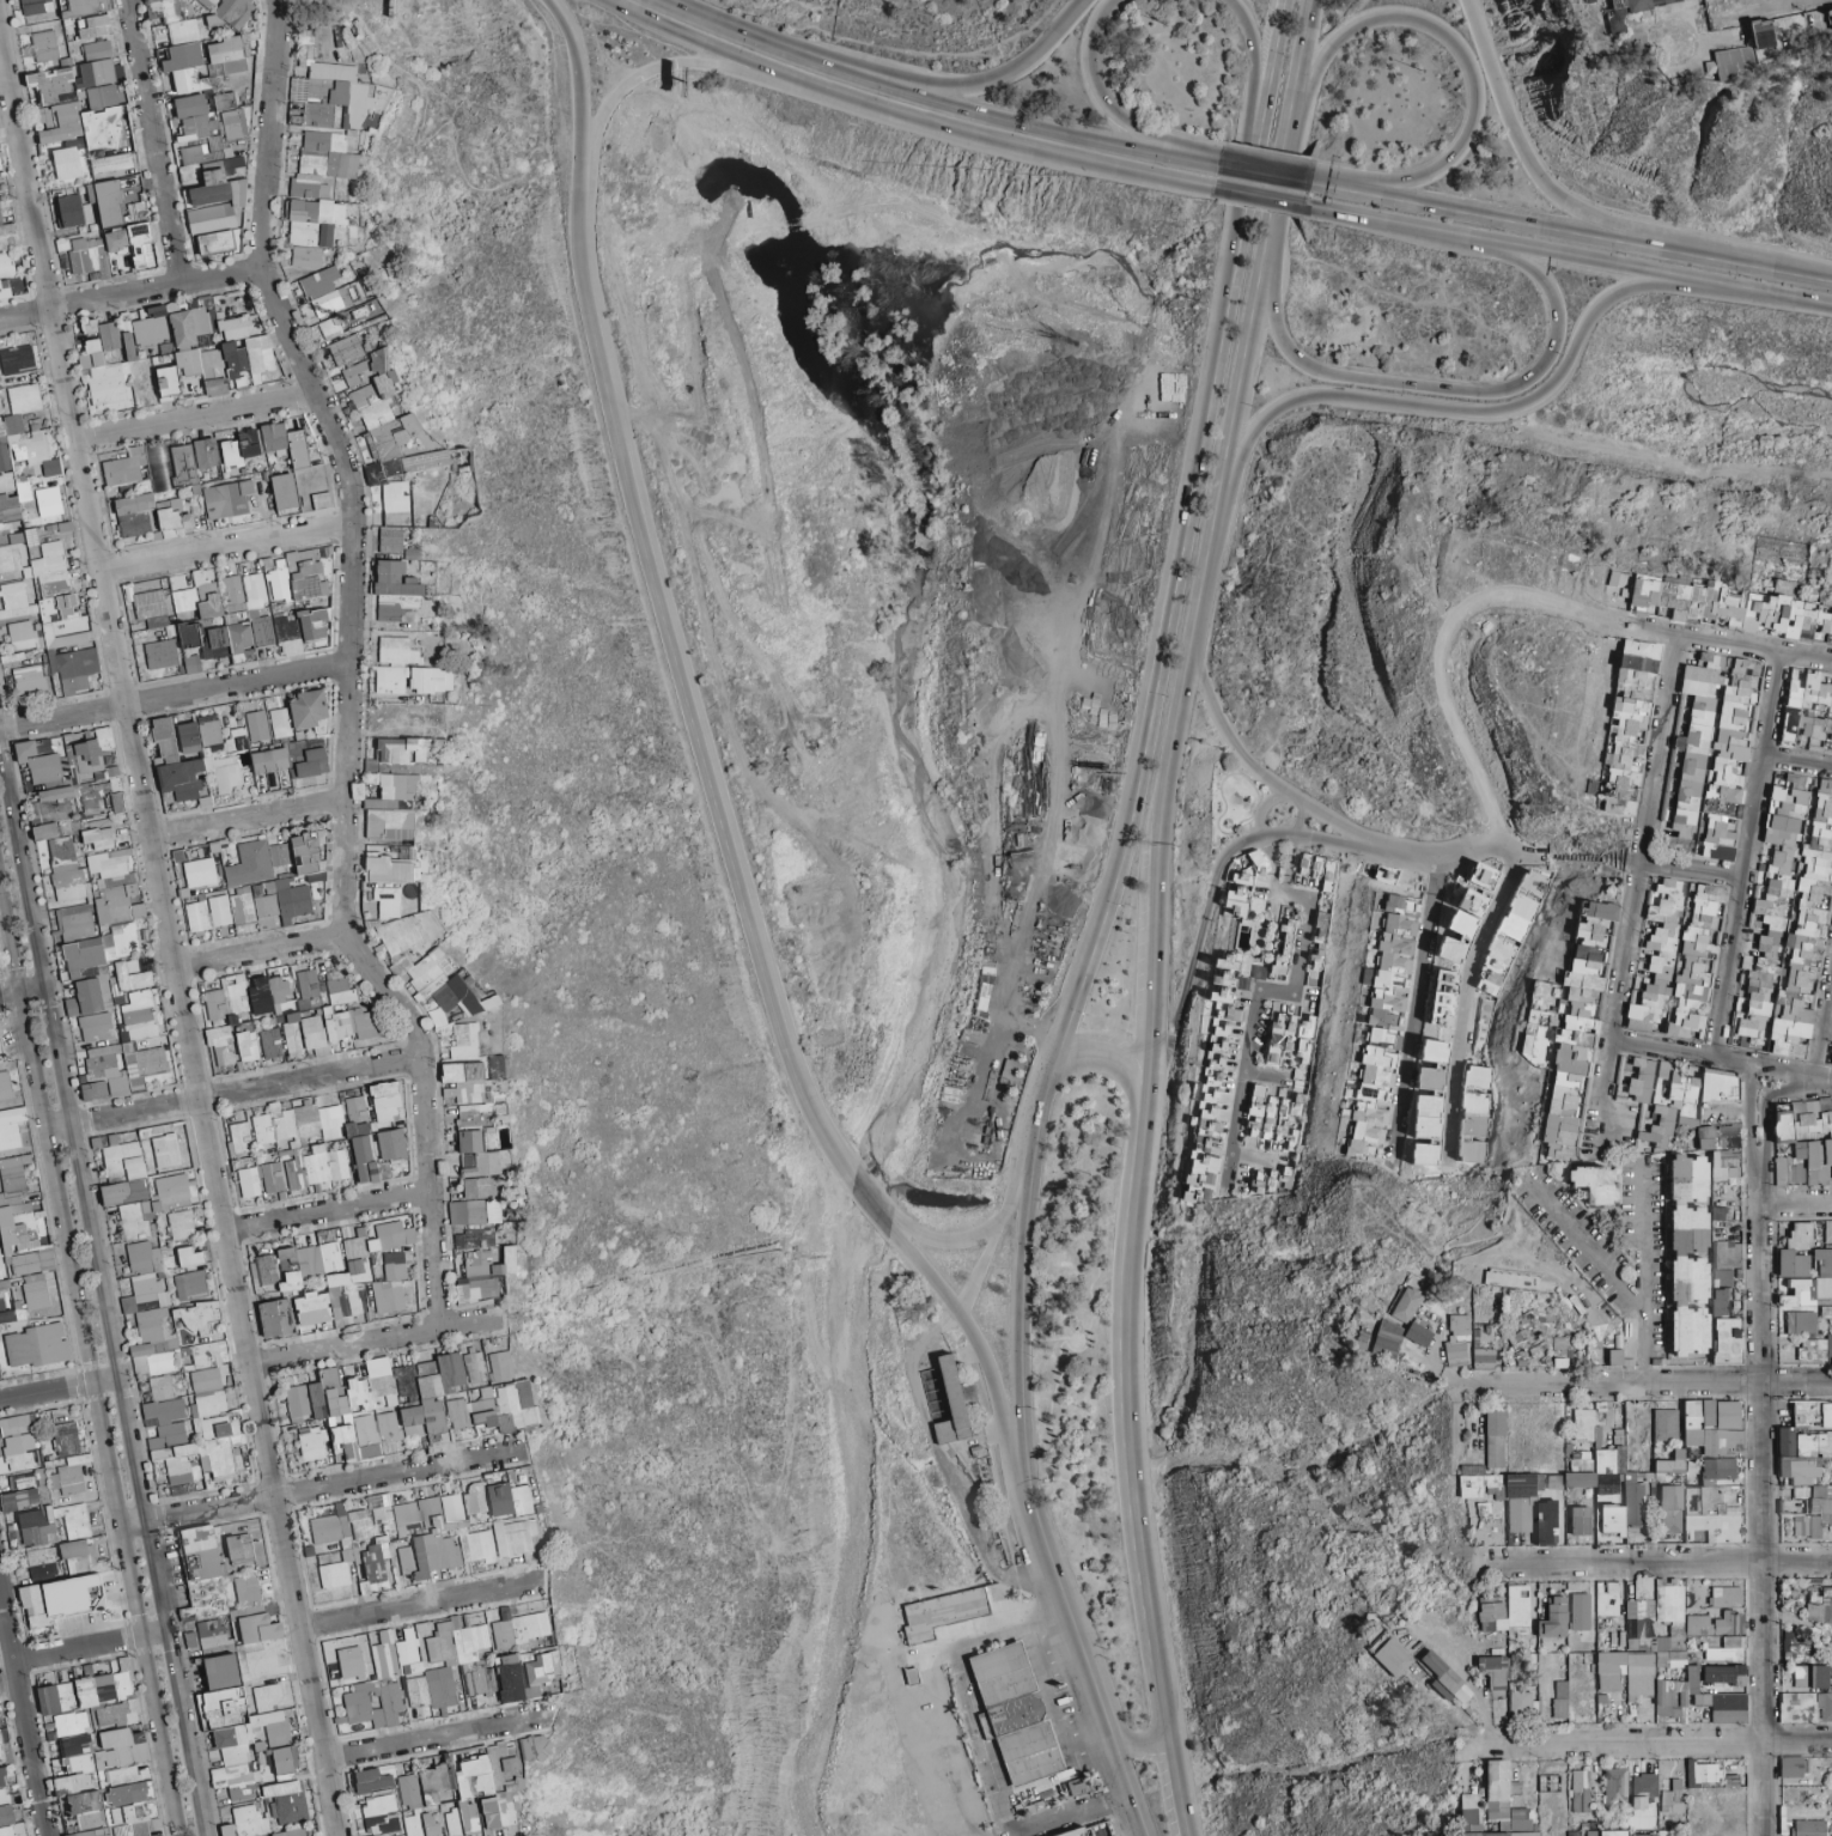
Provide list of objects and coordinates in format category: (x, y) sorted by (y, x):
building: (32, 6)
building: (85, 7)
building: (95, 26)
building: (193, 37)
gas station: (997, 1677)
gas station: (1025, 1753)

